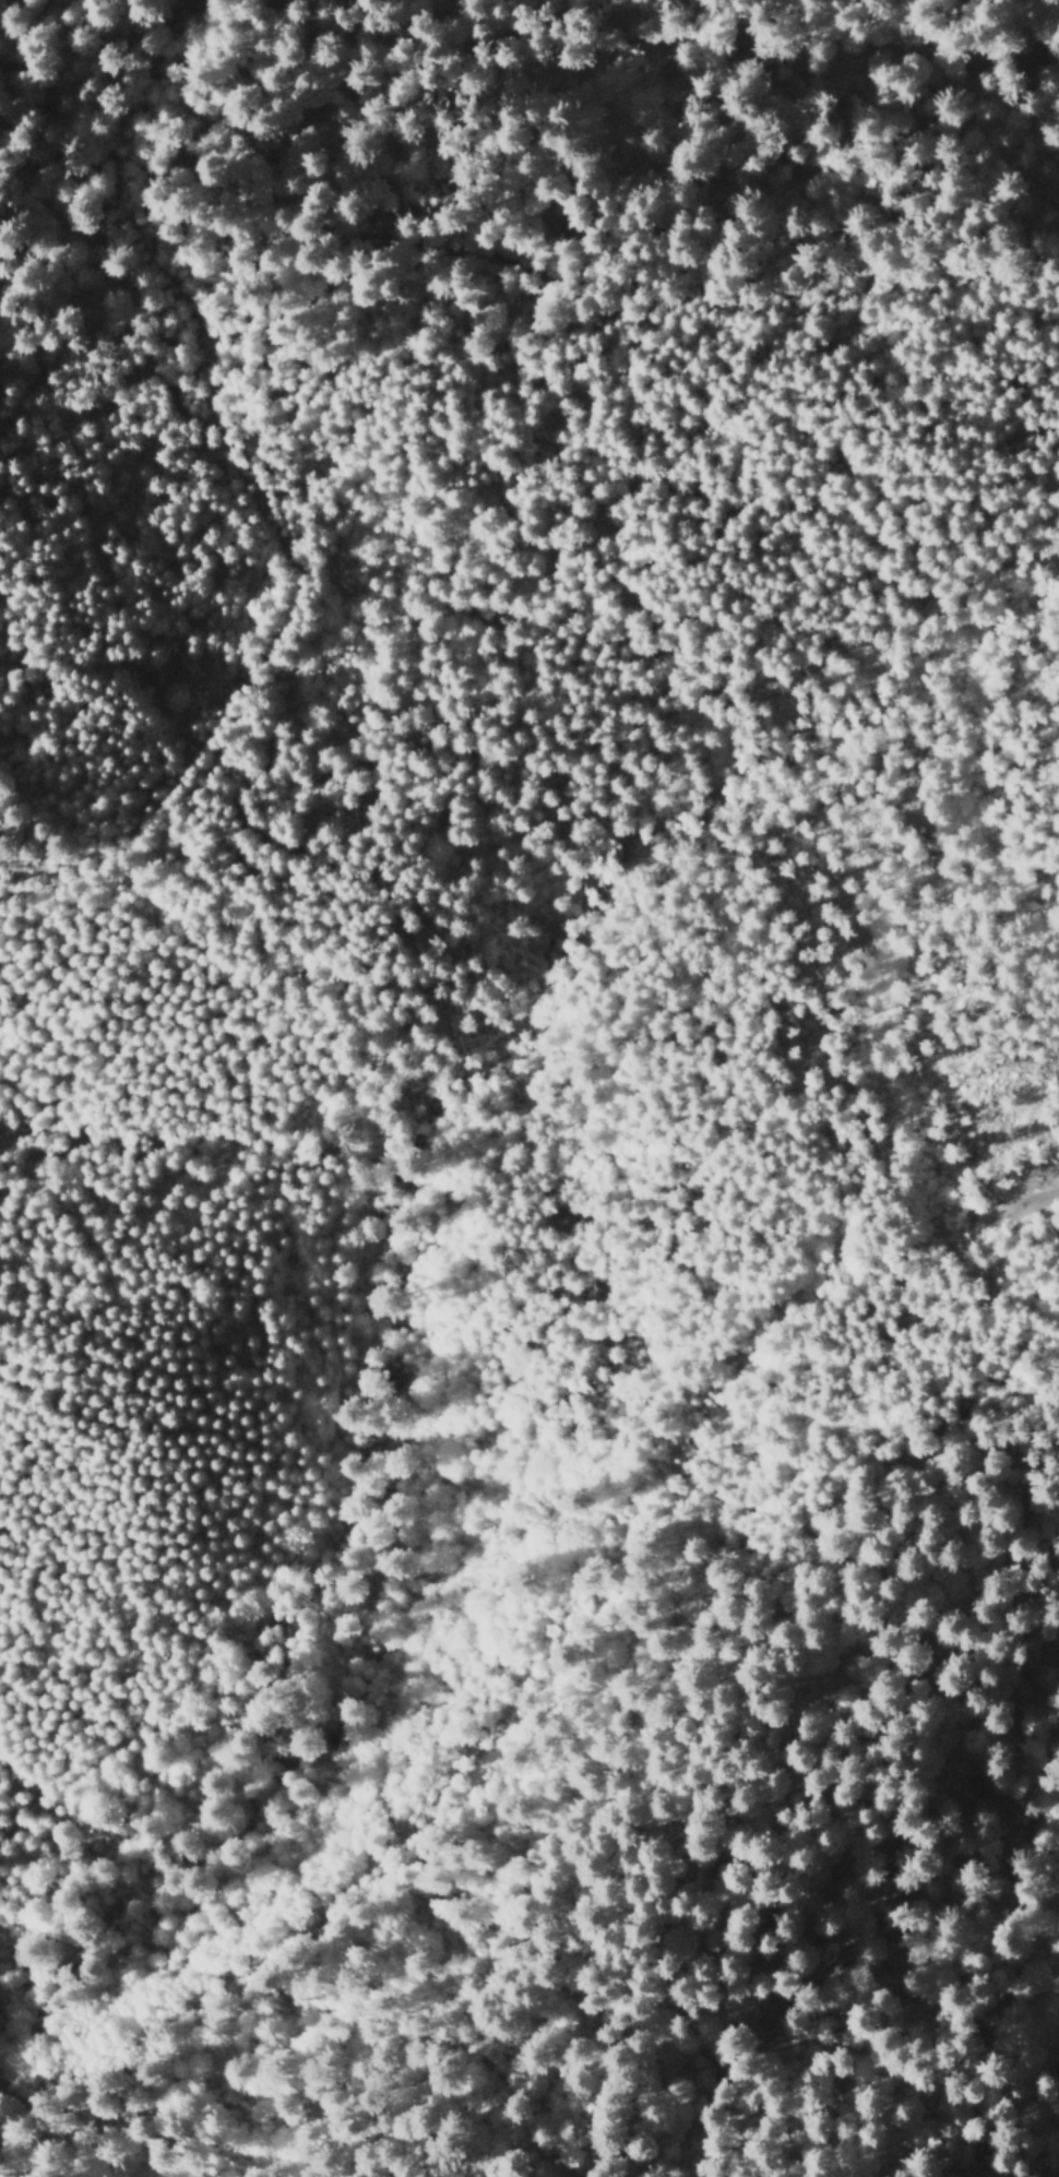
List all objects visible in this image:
road: (493, 1553)

